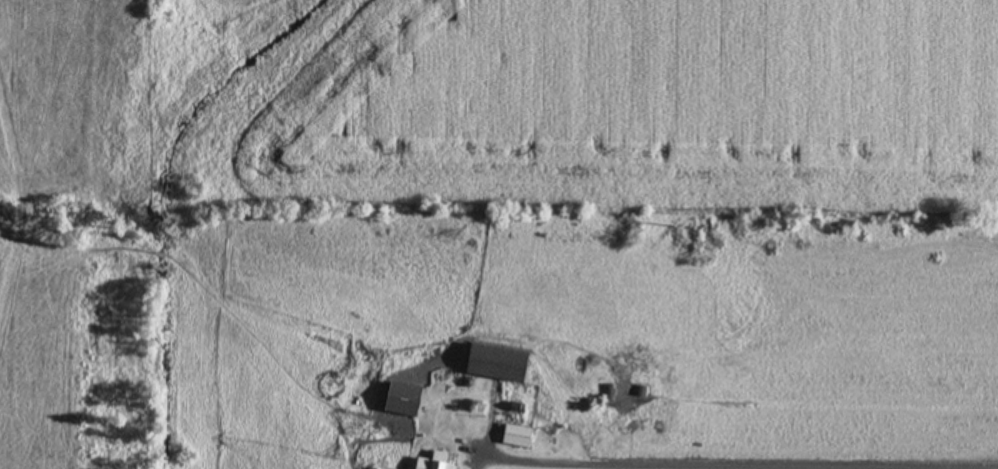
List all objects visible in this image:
building: (493, 363)
building: (608, 392)
building: (399, 399)
building: (513, 435)
building: (430, 462)
road: (768, 465)

